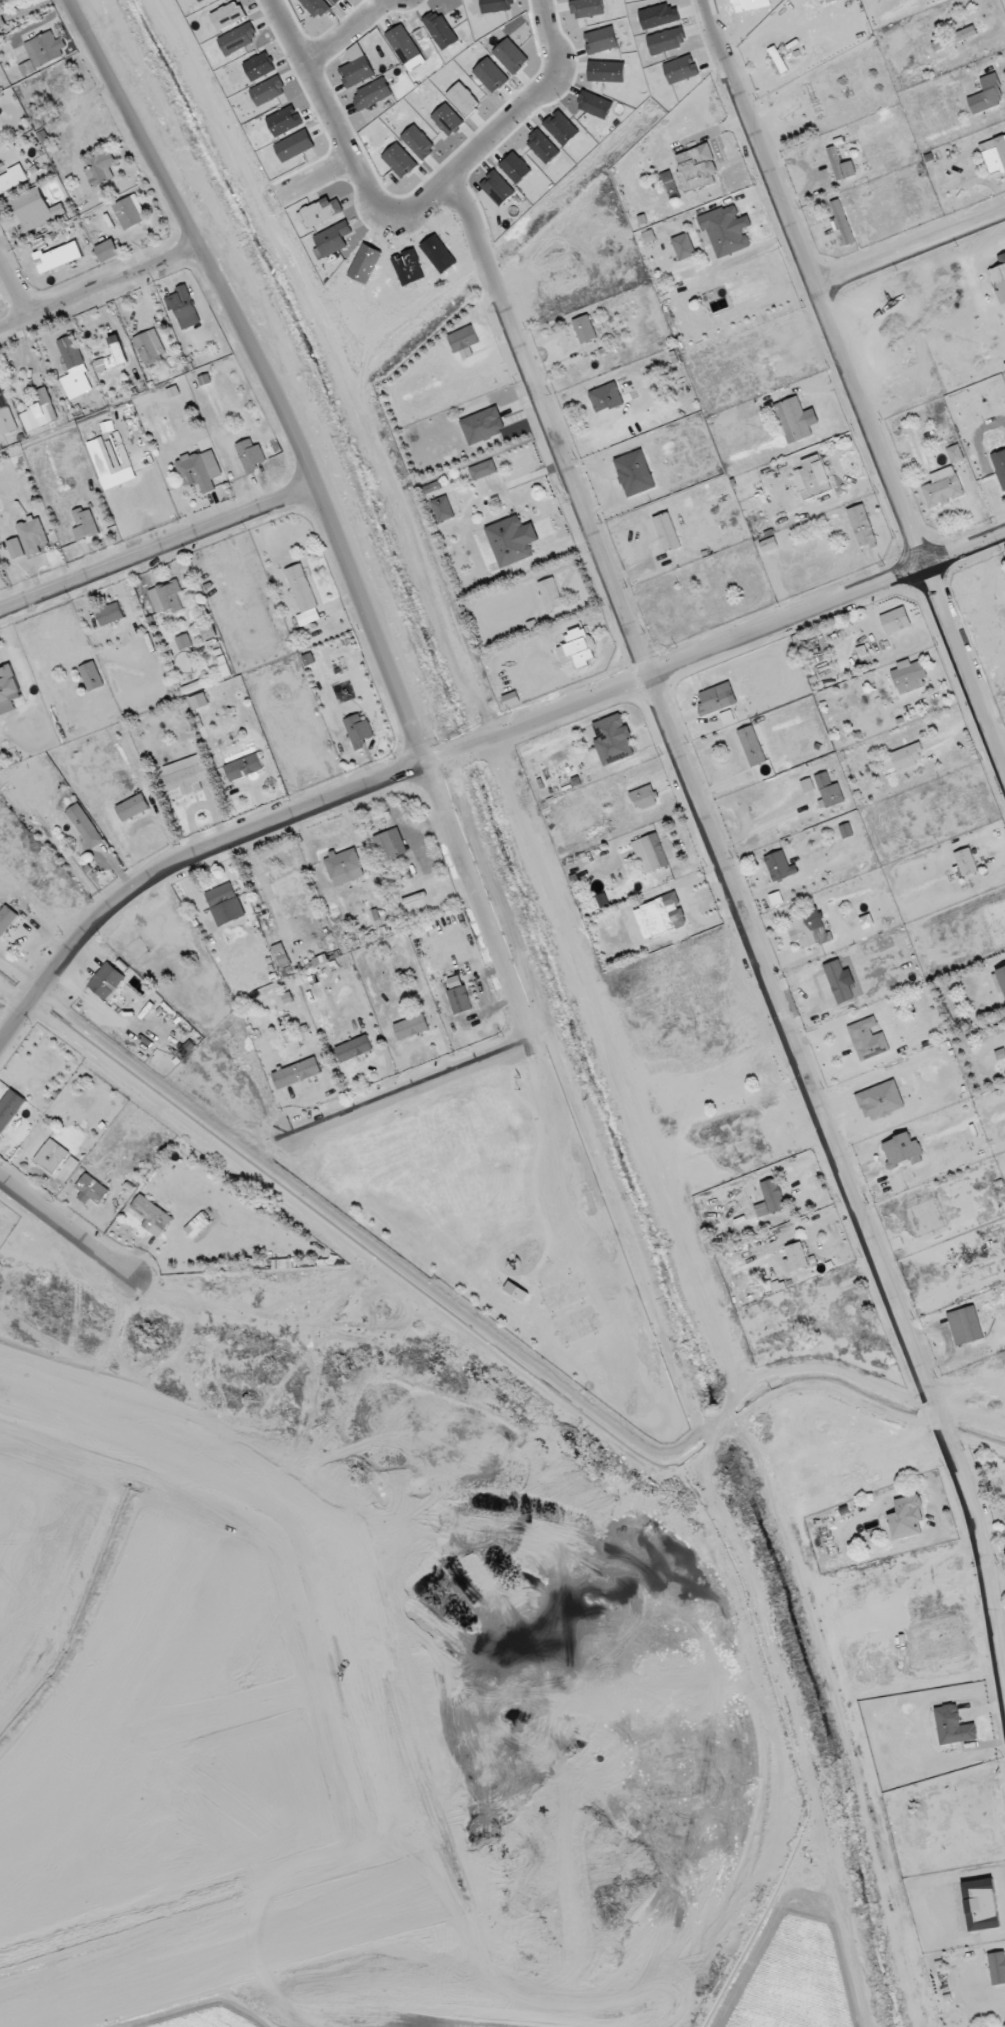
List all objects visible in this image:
building: (11, 1)
building: (1, 21)
road: (345, 31)
building: (954, 38)
building: (45, 49)
building: (27, 68)
building: (986, 95)
road: (524, 108)
building: (45, 115)
building: (44, 140)
building: (994, 155)
building: (840, 166)
building: (696, 167)
building: (100, 168)
road: (311, 177)
building: (13, 180)
road: (363, 180)
building: (36, 209)
building: (130, 212)
building: (841, 224)
building: (726, 230)
building: (683, 247)
road: (910, 249)
building: (107, 250)
building: (58, 257)
building: (999, 279)
road: (13, 290)
road: (100, 290)
building: (183, 307)
building: (585, 329)
building: (463, 339)
building: (150, 347)
building: (113, 355)
building: (74, 369)
building: (204, 379)
road: (853, 384)
building: (606, 397)
building: (39, 412)
building: (5, 416)
building: (795, 419)
building: (482, 425)
building: (955, 454)
building: (250, 456)
building: (199, 470)
building: (483, 470)
building: (635, 473)
building: (812, 478)
building: (432, 487)
building: (943, 488)
road: (325, 508)
building: (442, 509)
building: (84, 524)
building: (862, 526)
building: (667, 532)
building: (32, 535)
building: (512, 540)
building: (768, 544)
building: (15, 548)
road: (157, 548)
road: (6, 594)
building: (550, 594)
building: (303, 595)
building: (166, 597)
building: (109, 614)
building: (895, 620)
building: (208, 632)
building: (184, 641)
building: (308, 659)
building: (909, 675)
building: (90, 677)
building: (9, 684)
building: (192, 687)
road: (473, 688)
building: (198, 701)
building: (713, 701)
building: (358, 731)
building: (613, 739)
road: (471, 745)
building: (752, 746)
building: (907, 757)
building: (244, 767)
building: (186, 780)
building: (829, 790)
building: (644, 797)
building: (132, 807)
road: (744, 814)
building: (85, 826)
building: (846, 831)
building: (390, 844)
building: (650, 853)
building: (965, 862)
building: (344, 866)
building: (779, 866)
building: (776, 899)
building: (225, 904)
building: (660, 916)
building: (6, 919)
building: (810, 927)
building: (281, 955)
road: (763, 971)
building: (999, 980)
building: (106, 981)
building: (460, 999)
building: (411, 1026)
building: (291, 1038)
building: (868, 1039)
building: (354, 1048)
building: (296, 1073)
road: (409, 1090)
building: (9, 1108)
building: (901, 1150)
building: (52, 1156)
building: (92, 1190)
building: (773, 1195)
building: (152, 1215)
park: (510, 1223)
road: (65, 1227)
building: (796, 1256)
building: (516, 1291)
building: (965, 1325)
road: (833, 1372)
building: (907, 1517)
building: (952, 1726)
building: (981, 1905)
building: (997, 1968)

